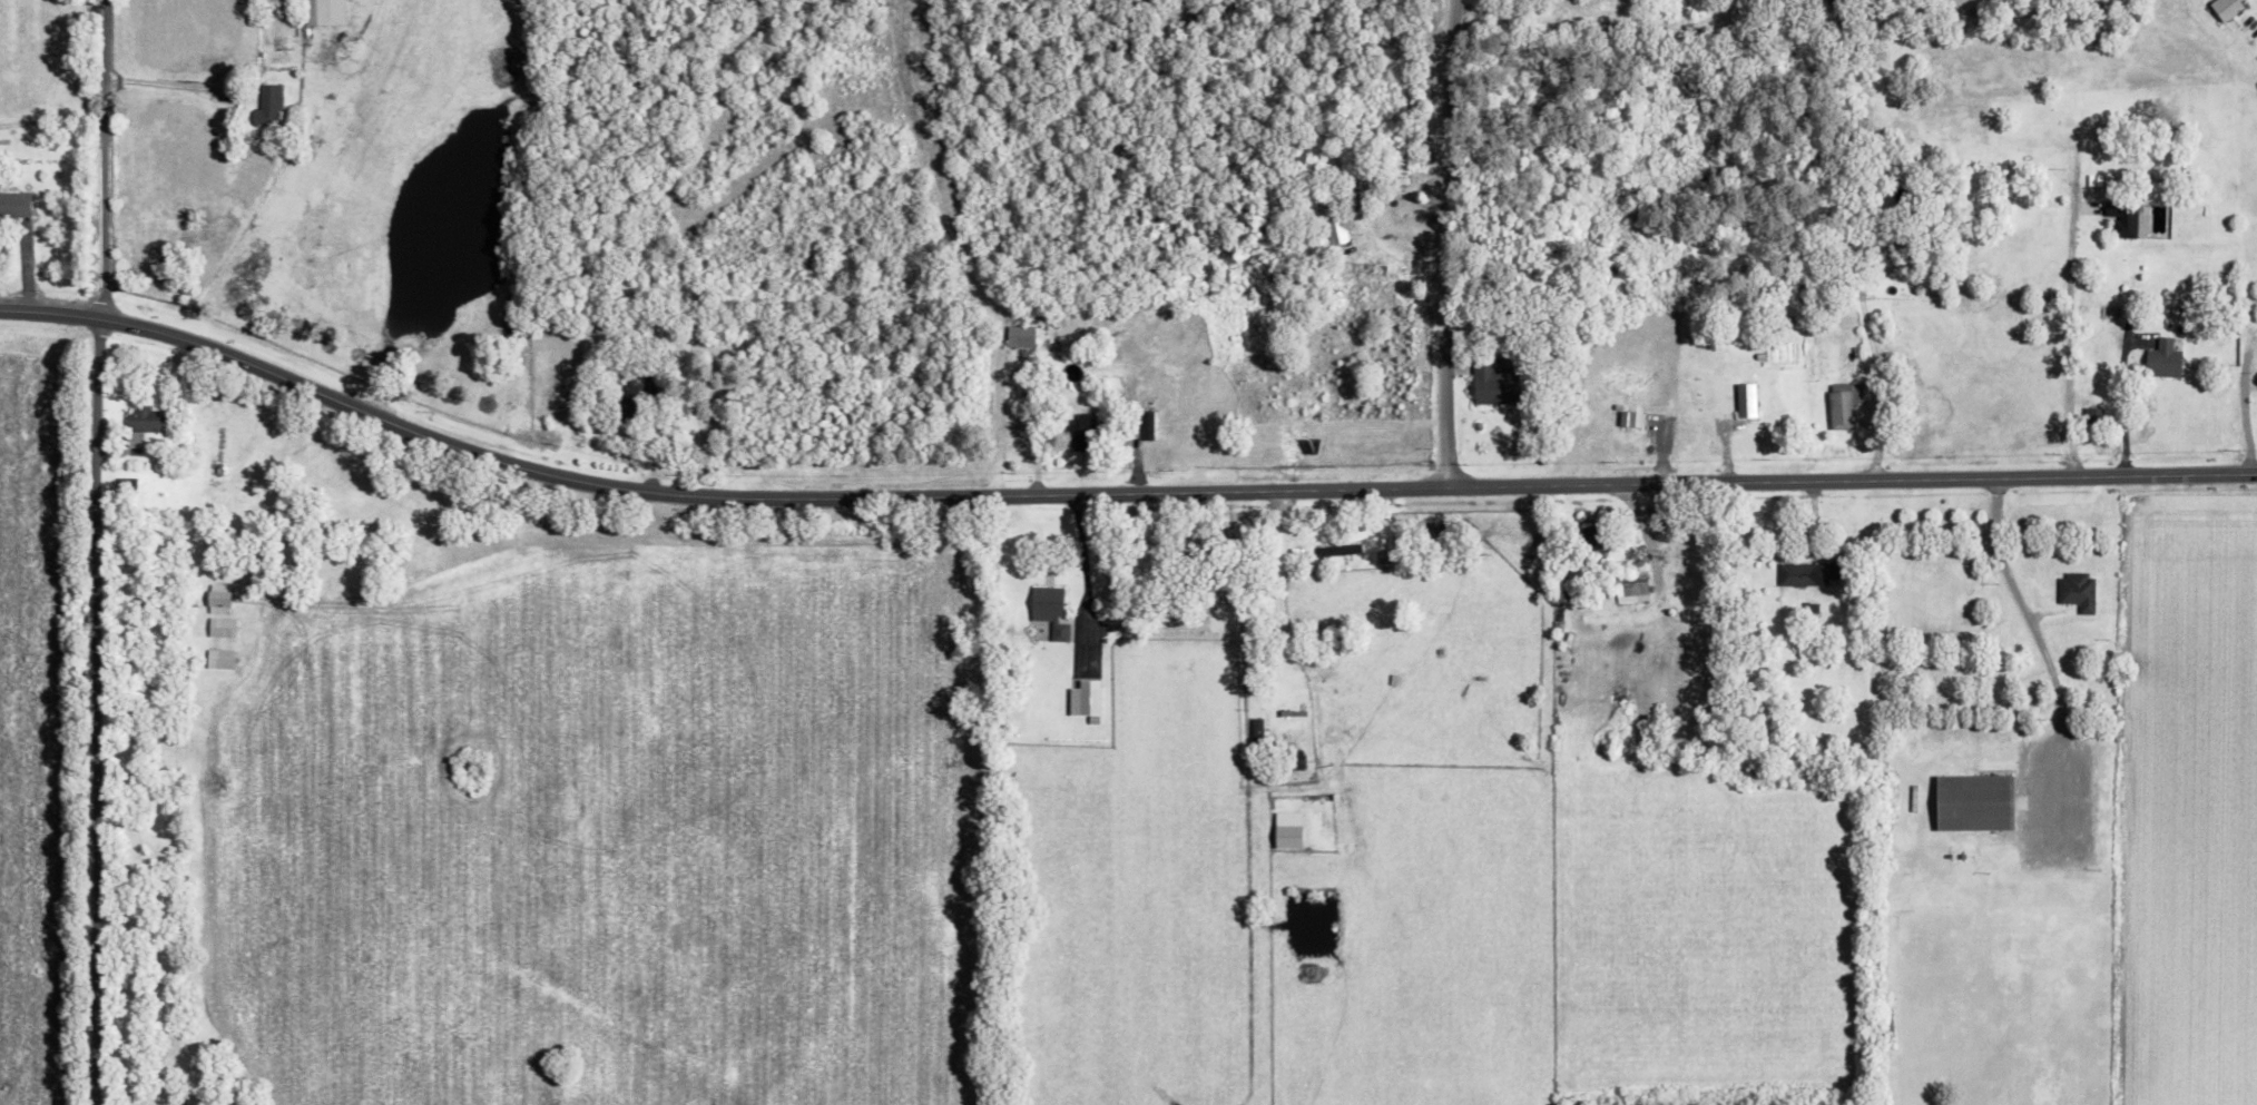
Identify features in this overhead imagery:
building: (2226, 8)
building: (314, 12)
road: (1452, 14)
road: (164, 81)
building: (266, 106)
road: (101, 157)
building: (2155, 194)
building: (13, 204)
building: (2122, 218)
building: (1336, 225)
road: (1446, 236)
building: (1020, 336)
road: (2067, 343)
road: (1871, 352)
building: (2163, 359)
building: (1494, 382)
building: (634, 396)
building: (1747, 401)
building: (1845, 403)
road: (2121, 406)
road: (2244, 413)
building: (141, 424)
building: (1080, 431)
road: (1113, 493)
building: (1591, 546)
building: (1340, 550)
building: (1383, 558)
building: (1808, 573)
building: (2078, 591)
building: (216, 599)
building: (1050, 610)
building: (219, 628)
road: (2033, 638)
building: (217, 659)
building: (1083, 699)
road: (87, 709)
building: (1285, 714)
building: (1295, 758)
building: (1975, 802)

